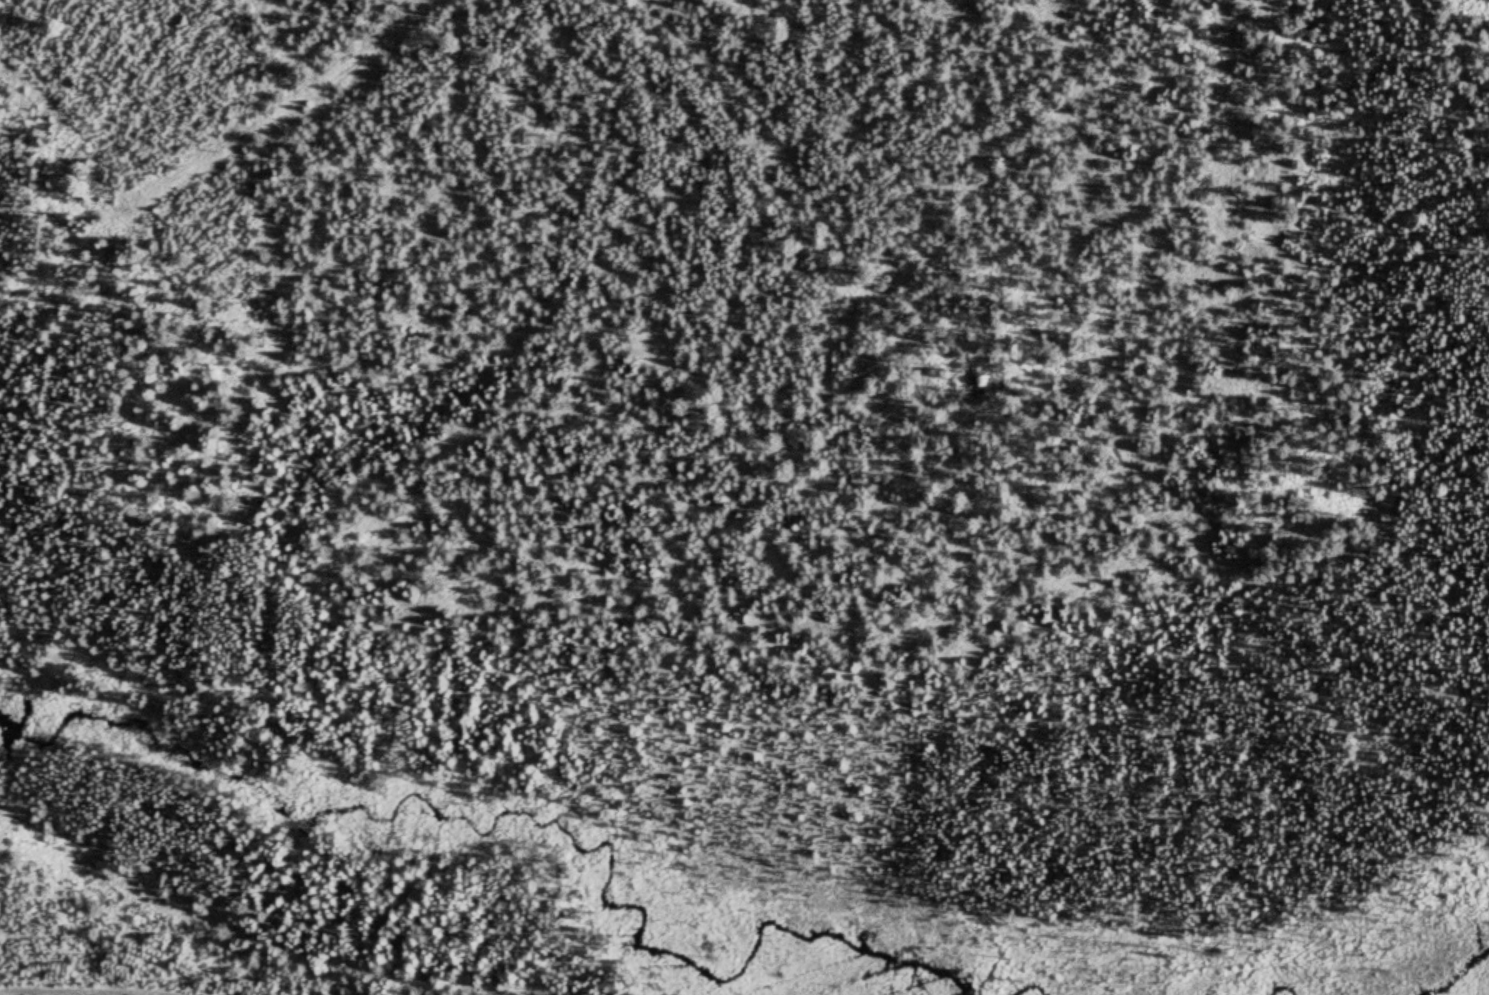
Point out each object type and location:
road: (801, 218)
road: (92, 988)

